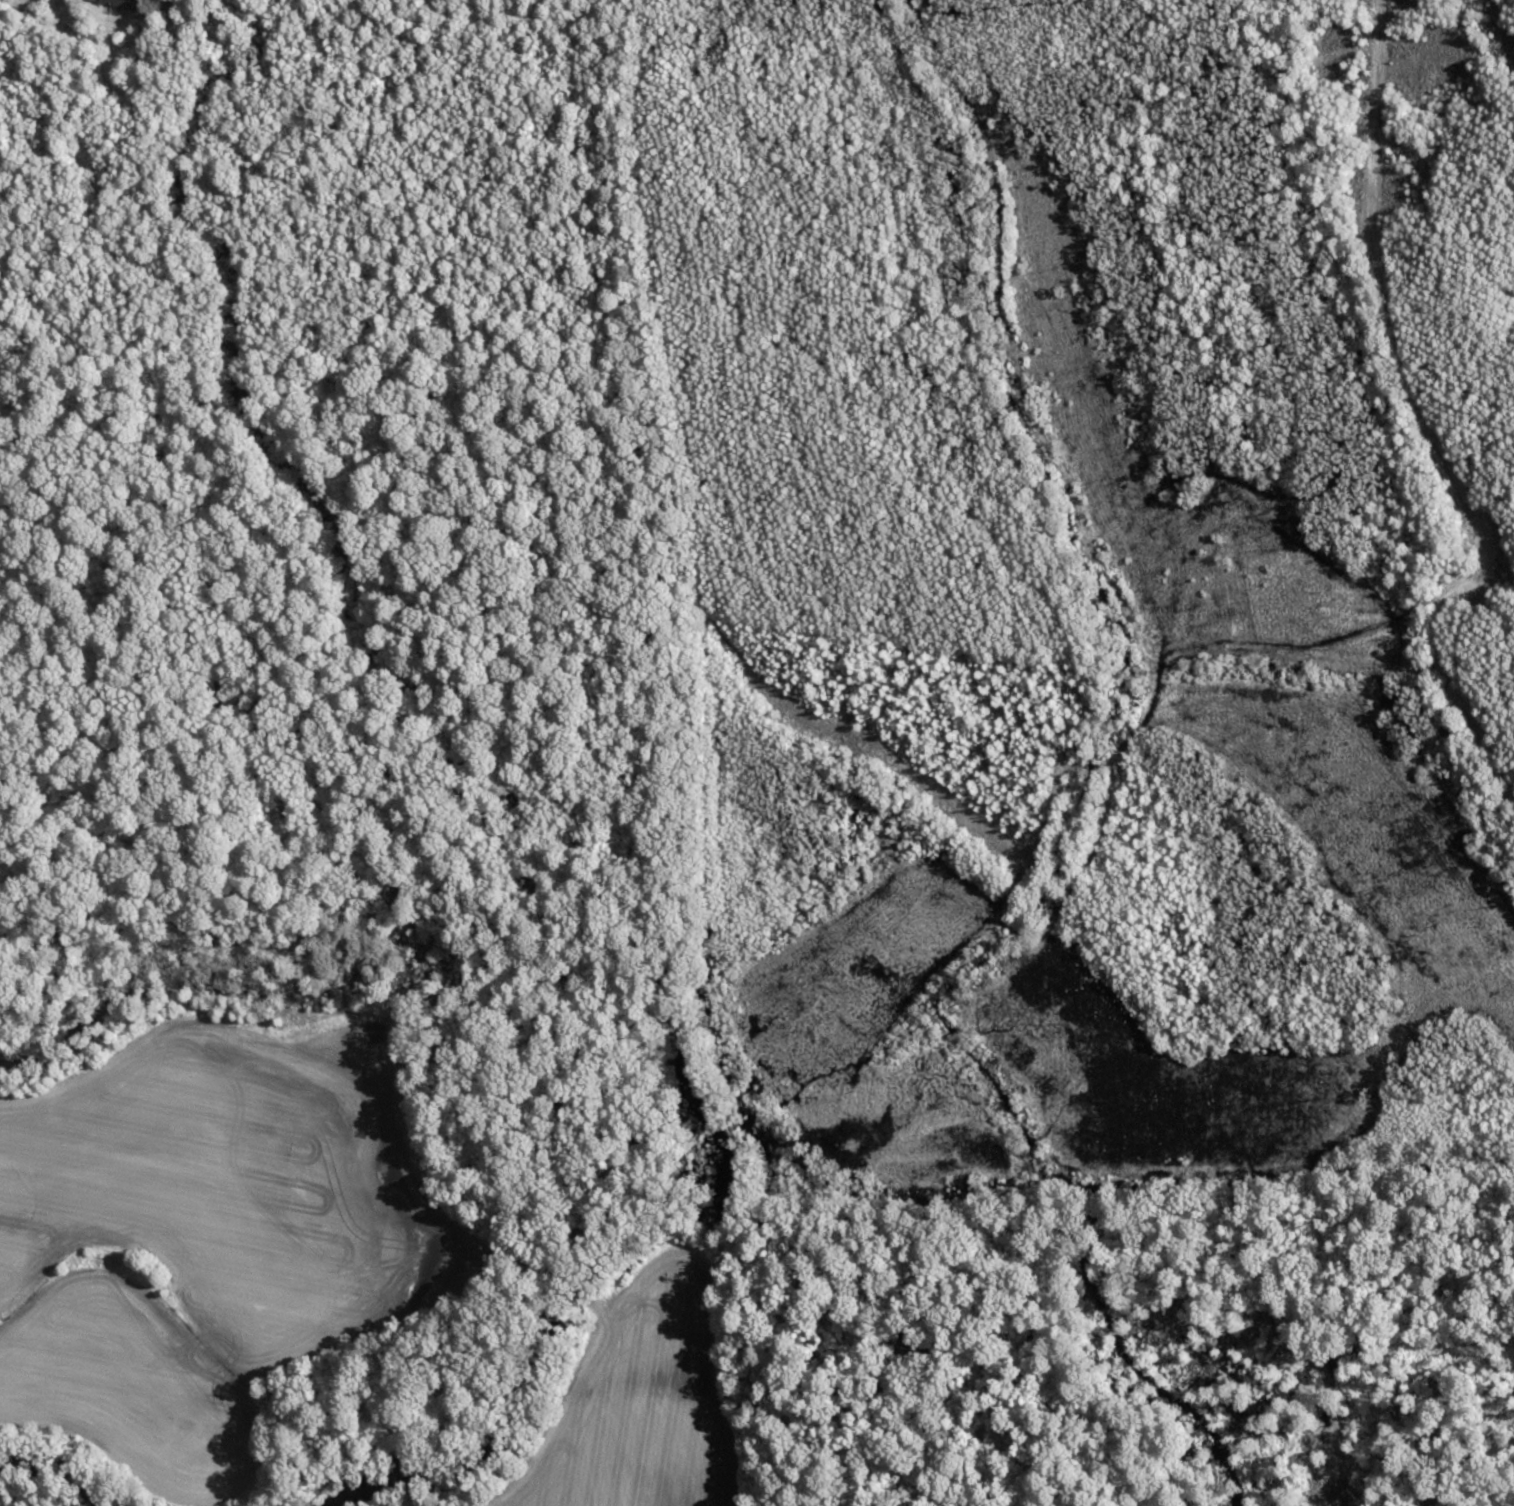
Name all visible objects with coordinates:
building: (124, 3)
road: (581, 1356)

